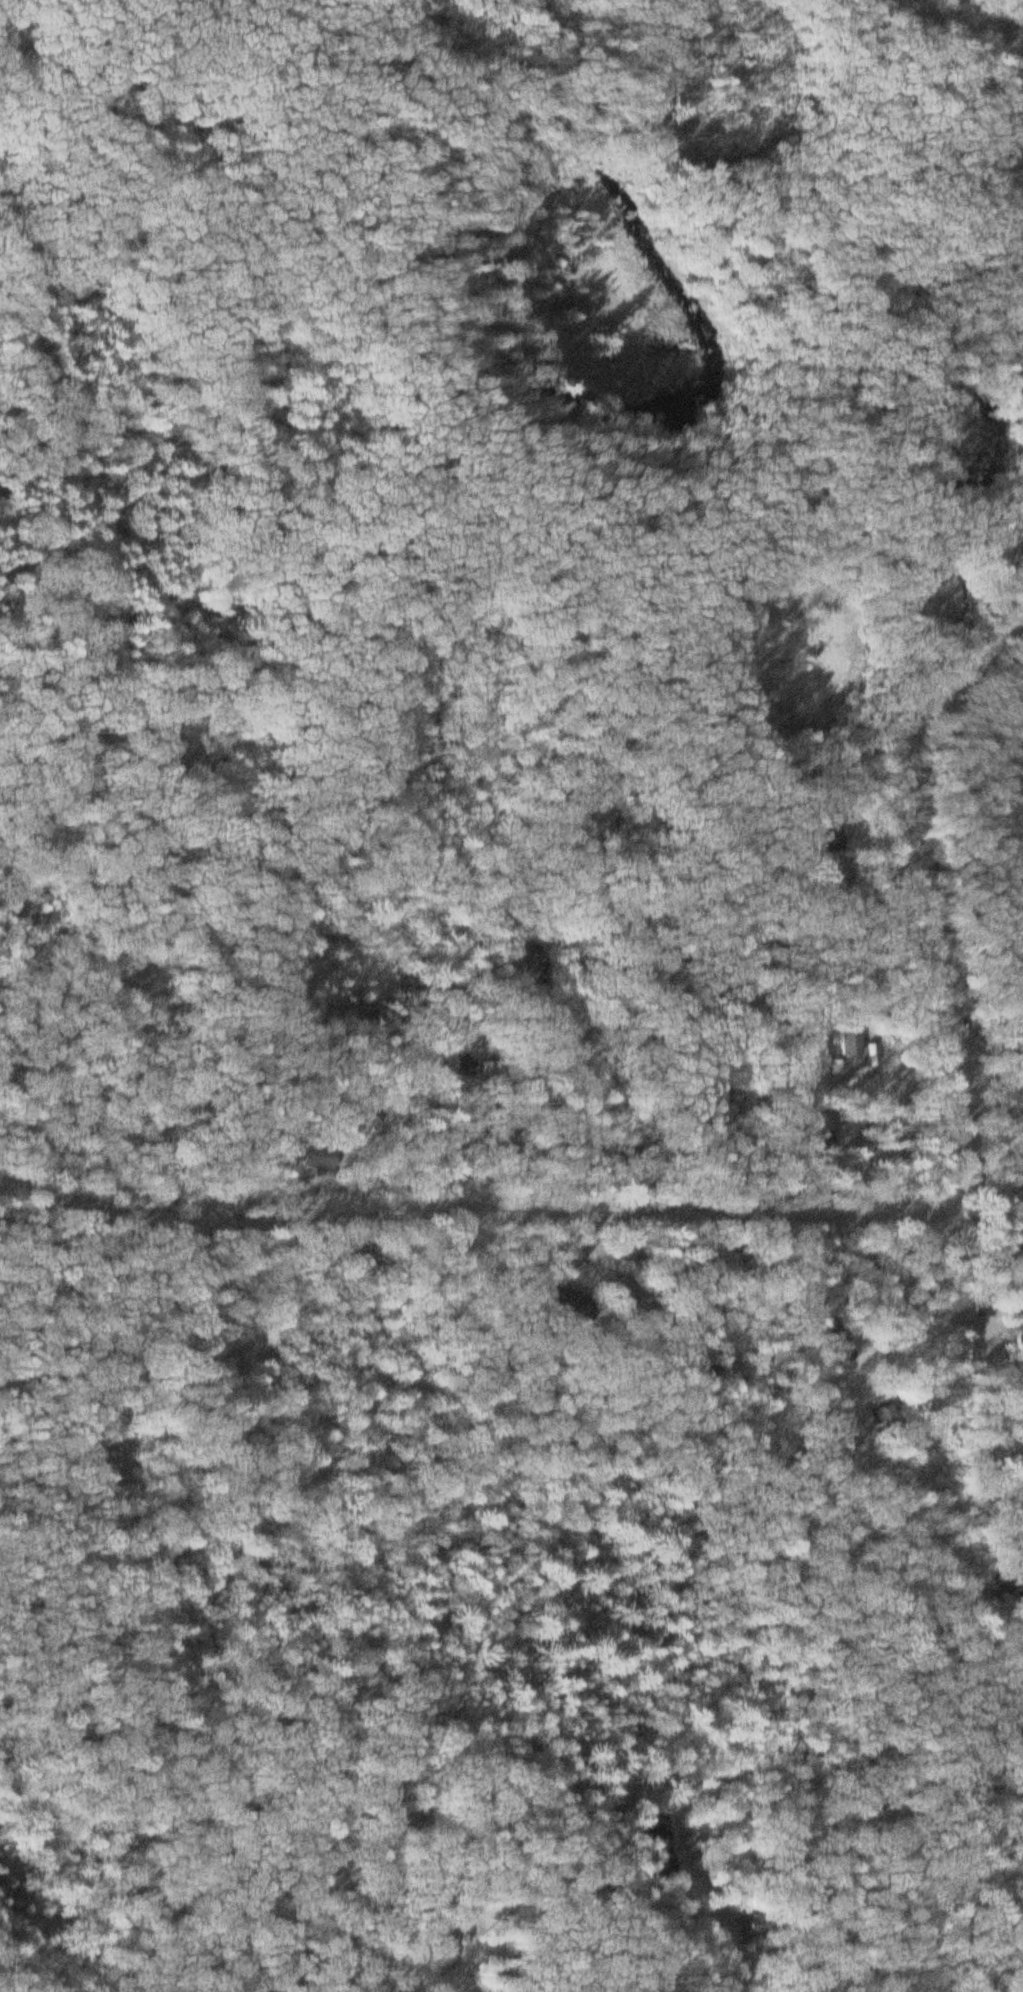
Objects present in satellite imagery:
road: (972, 21)
road: (1006, 124)
building: (852, 1044)
road: (990, 1051)
building: (818, 1059)
road: (956, 1065)
building: (827, 1141)
road: (471, 1208)
building: (575, 1258)
building: (988, 1311)
road: (982, 1626)
road: (349, 1961)
road: (682, 1991)

